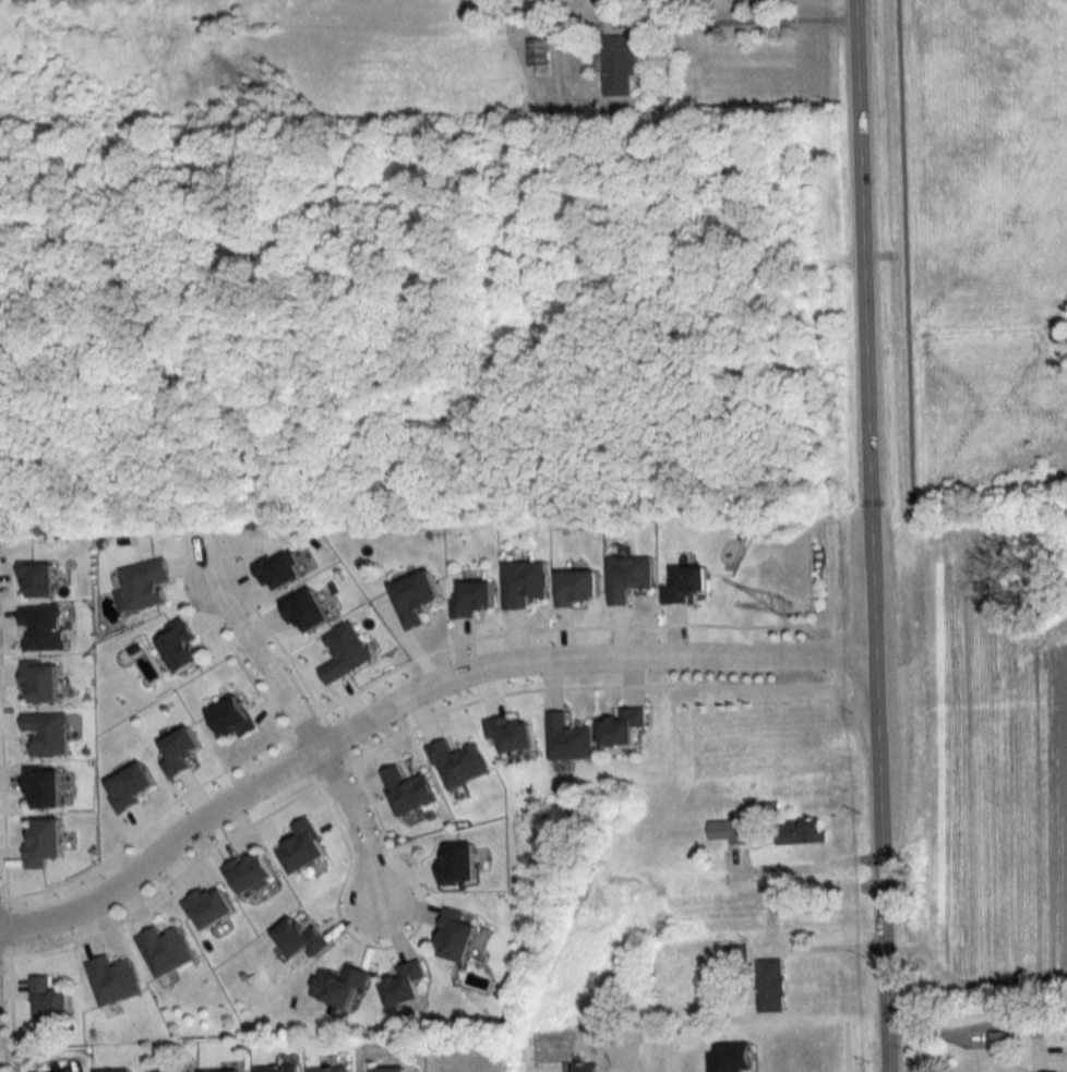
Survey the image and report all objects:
road: (752, 17)
building: (536, 52)
building: (619, 64)
road: (870, 535)
building: (626, 577)
building: (143, 583)
building: (523, 583)
building: (684, 583)
building: (576, 586)
building: (413, 598)
power tower: (781, 606)
building: (304, 610)
building: (41, 627)
building: (179, 646)
road: (265, 664)
building: (40, 680)
road: (404, 695)
building: (621, 726)
building: (509, 733)
building: (567, 738)
crop: (994, 761)
building: (730, 829)
road: (359, 831)
building: (799, 831)
road: (804, 865)
building: (250, 871)
building: (208, 906)
building: (454, 937)
building: (299, 938)
building: (165, 950)
building: (111, 980)
building: (403, 984)
building: (770, 985)
building: (339, 986)
building: (48, 1000)
road: (975, 1028)
building: (997, 1043)
building: (276, 1069)
building: (170, 1070)
building: (328, 1070)
building: (388, 1070)
building: (113, 1071)
building: (225, 1071)

